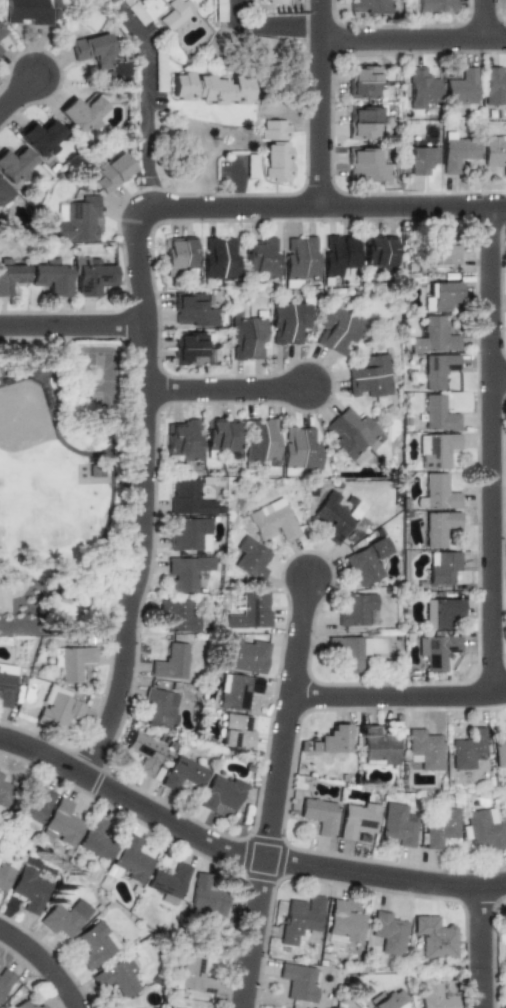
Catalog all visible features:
building: (276, 2)
building: (433, 6)
building: (367, 7)
building: (220, 10)
building: (29, 12)
building: (138, 13)
building: (175, 13)
road: (481, 19)
building: (89, 20)
road: (264, 24)
building: (1, 31)
road: (411, 38)
building: (0, 46)
building: (0, 49)
building: (92, 50)
building: (159, 73)
building: (362, 82)
building: (492, 84)
building: (460, 86)
building: (214, 87)
building: (420, 87)
road: (17, 90)
road: (147, 100)
road: (318, 102)
building: (83, 112)
building: (363, 122)
building: (40, 137)
building: (275, 143)
building: (456, 150)
building: (494, 151)
building: (420, 159)
building: (14, 164)
building: (367, 164)
building: (251, 166)
building: (112, 172)
building: (3, 192)
road: (412, 205)
building: (79, 220)
building: (443, 249)
building: (379, 251)
building: (180, 253)
building: (337, 255)
building: (262, 256)
building: (220, 258)
building: (300, 259)
building: (51, 274)
building: (89, 275)
building: (11, 277)
building: (440, 295)
building: (193, 310)
building: (288, 321)
road: (71, 324)
building: (339, 329)
building: (436, 336)
building: (247, 338)
building: (194, 348)
building: (438, 370)
building: (372, 377)
road: (498, 377)
road: (227, 387)
road: (145, 409)
building: (439, 413)
building: (352, 434)
building: (221, 435)
building: (183, 439)
building: (261, 442)
building: (300, 449)
road: (490, 449)
building: (437, 450)
building: (93, 469)
park: (61, 482)
building: (438, 492)
building: (185, 496)
building: (332, 517)
building: (272, 520)
building: (439, 527)
building: (187, 534)
building: (250, 558)
building: (367, 561)
building: (443, 566)
building: (183, 573)
building: (357, 609)
building: (251, 611)
building: (441, 611)
building: (174, 615)
building: (437, 650)
building: (351, 651)
building: (244, 654)
building: (70, 661)
building: (169, 661)
building: (5, 684)
building: (237, 690)
road: (397, 695)
building: (159, 707)
building: (56, 708)
building: (238, 731)
building: (334, 740)
building: (378, 745)
building: (425, 748)
building: (468, 749)
building: (500, 749)
building: (141, 751)
building: (183, 772)
building: (1, 777)
building: (221, 791)
road: (274, 792)
building: (3, 794)
building: (31, 807)
building: (319, 814)
building: (357, 818)
building: (60, 824)
building: (399, 825)
building: (441, 827)
building: (484, 828)
building: (97, 841)
road: (240, 853)
building: (129, 860)
building: (5, 873)
building: (169, 881)
building: (30, 890)
building: (206, 896)
building: (64, 916)
building: (300, 918)
building: (344, 923)
building: (388, 931)
building: (435, 938)
building: (95, 944)
road: (479, 947)
road: (45, 961)
building: (193, 975)
building: (122, 977)
building: (5, 980)
building: (299, 981)
building: (435, 996)
building: (389, 999)
building: (28, 1005)
building: (505, 1005)

